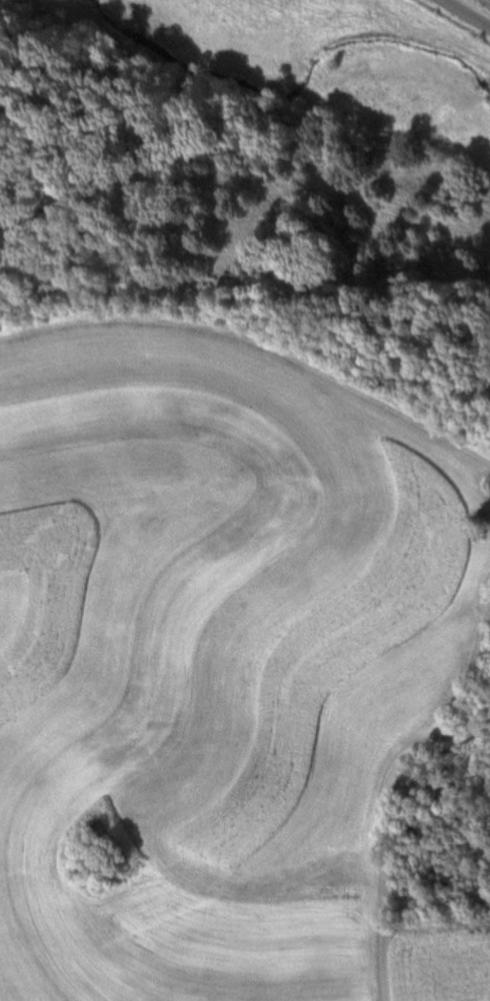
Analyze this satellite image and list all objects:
road: (466, 13)
road: (398, 832)

